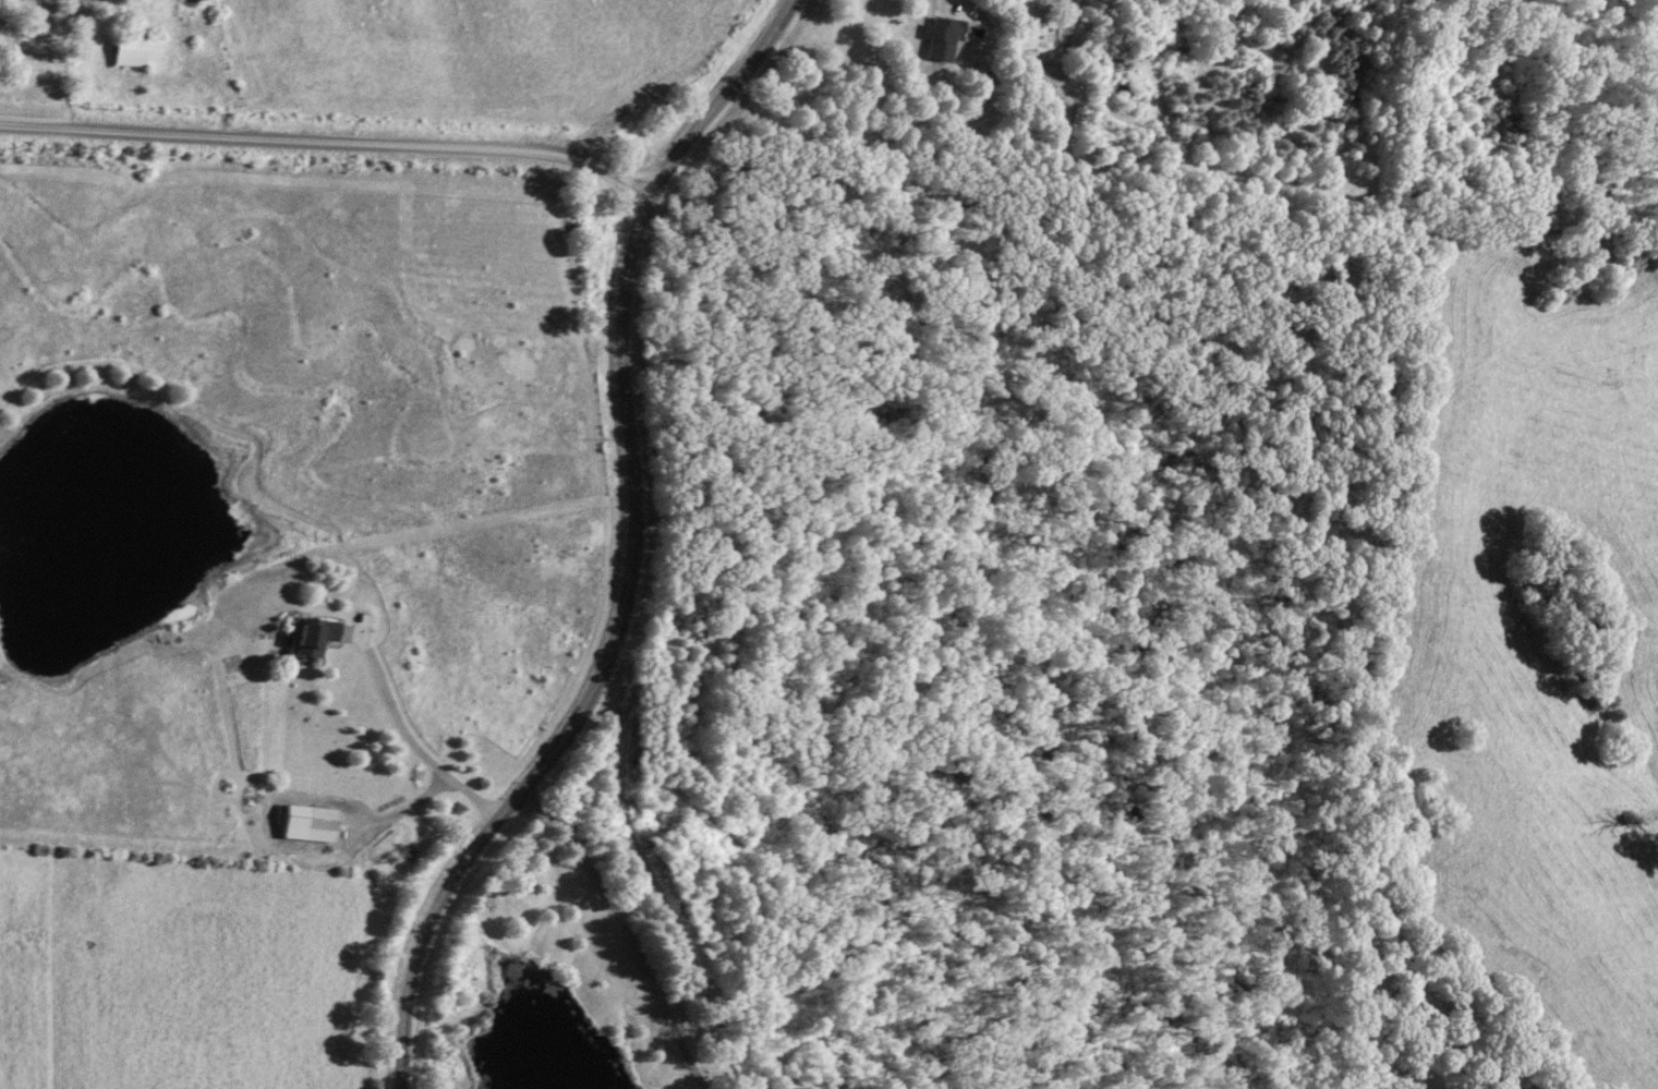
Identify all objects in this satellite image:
road: (960, 1)
building: (941, 39)
building: (21, 52)
building: (140, 52)
road: (326, 136)
road: (629, 549)
building: (316, 636)
road: (406, 729)
building: (322, 818)
road: (632, 931)

